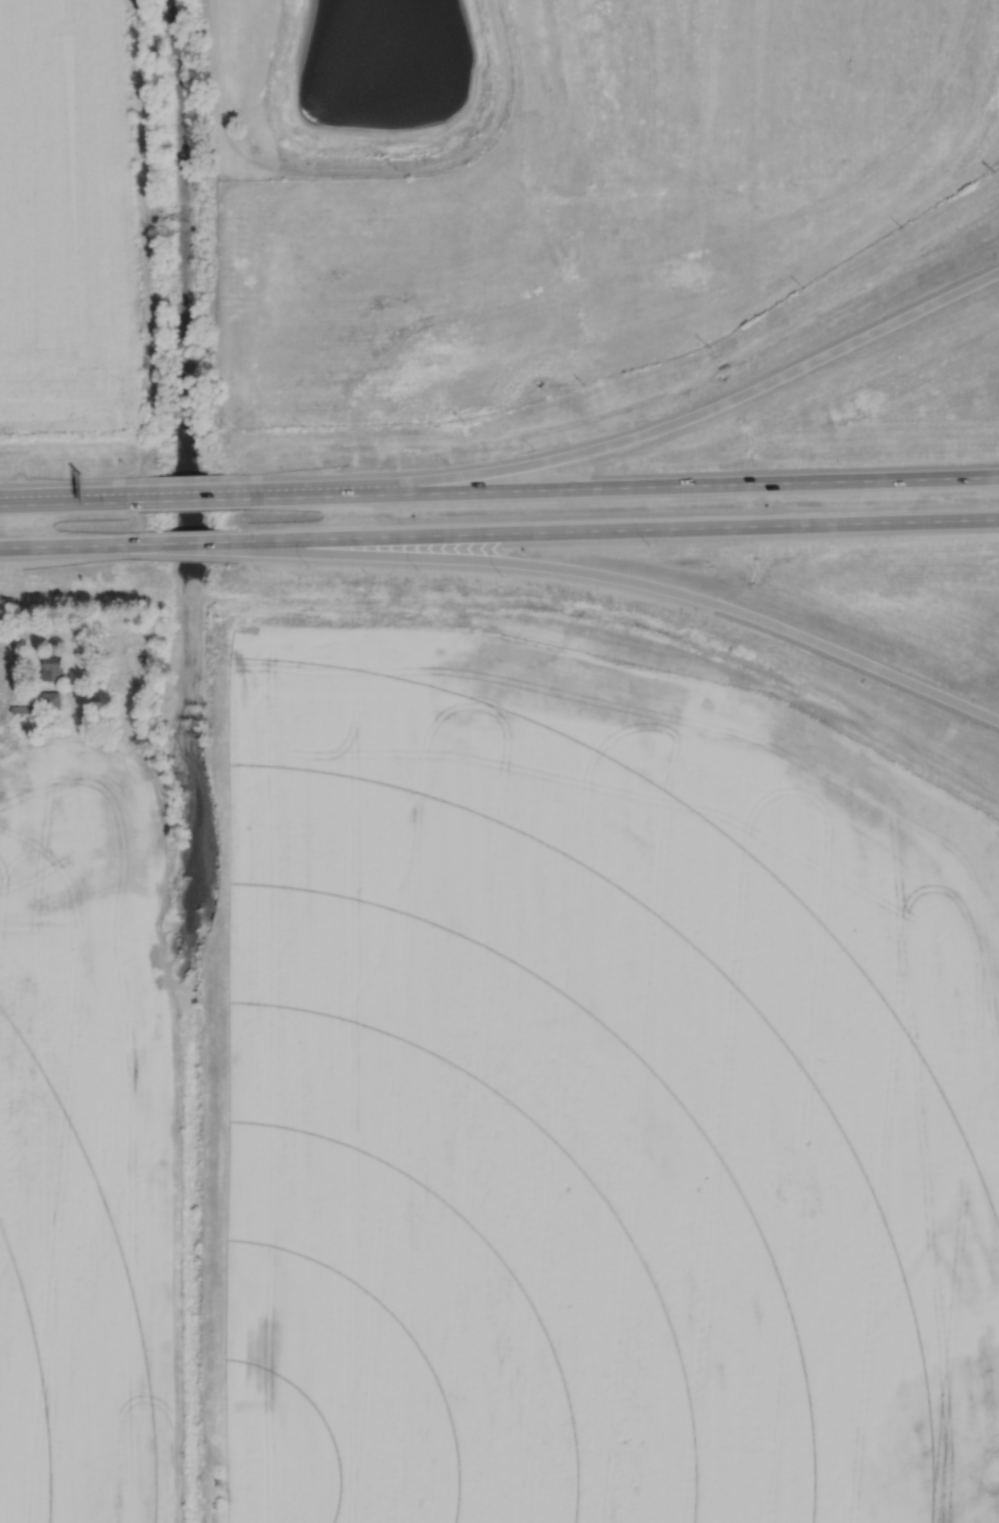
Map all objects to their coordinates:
road: (758, 91)
road: (357, 171)
road: (524, 177)
road: (775, 181)
crop: (68, 220)
road: (639, 434)
street lamp: (536, 448)
street lamp: (449, 461)
street lamp: (337, 468)
road: (624, 486)
road: (188, 499)
road: (62, 501)
road: (62, 503)
road: (624, 528)
road: (181, 542)
road: (56, 544)
street lamp: (651, 548)
street lamp: (311, 569)
street lamp: (418, 573)
street lamp: (504, 580)
road: (636, 582)
building: (0, 633)
building: (52, 667)
road: (7, 685)
building: (51, 698)
building: (25, 709)
building: (3, 832)
crop: (599, 1098)
crop: (84, 1139)
building: (218, 1500)

